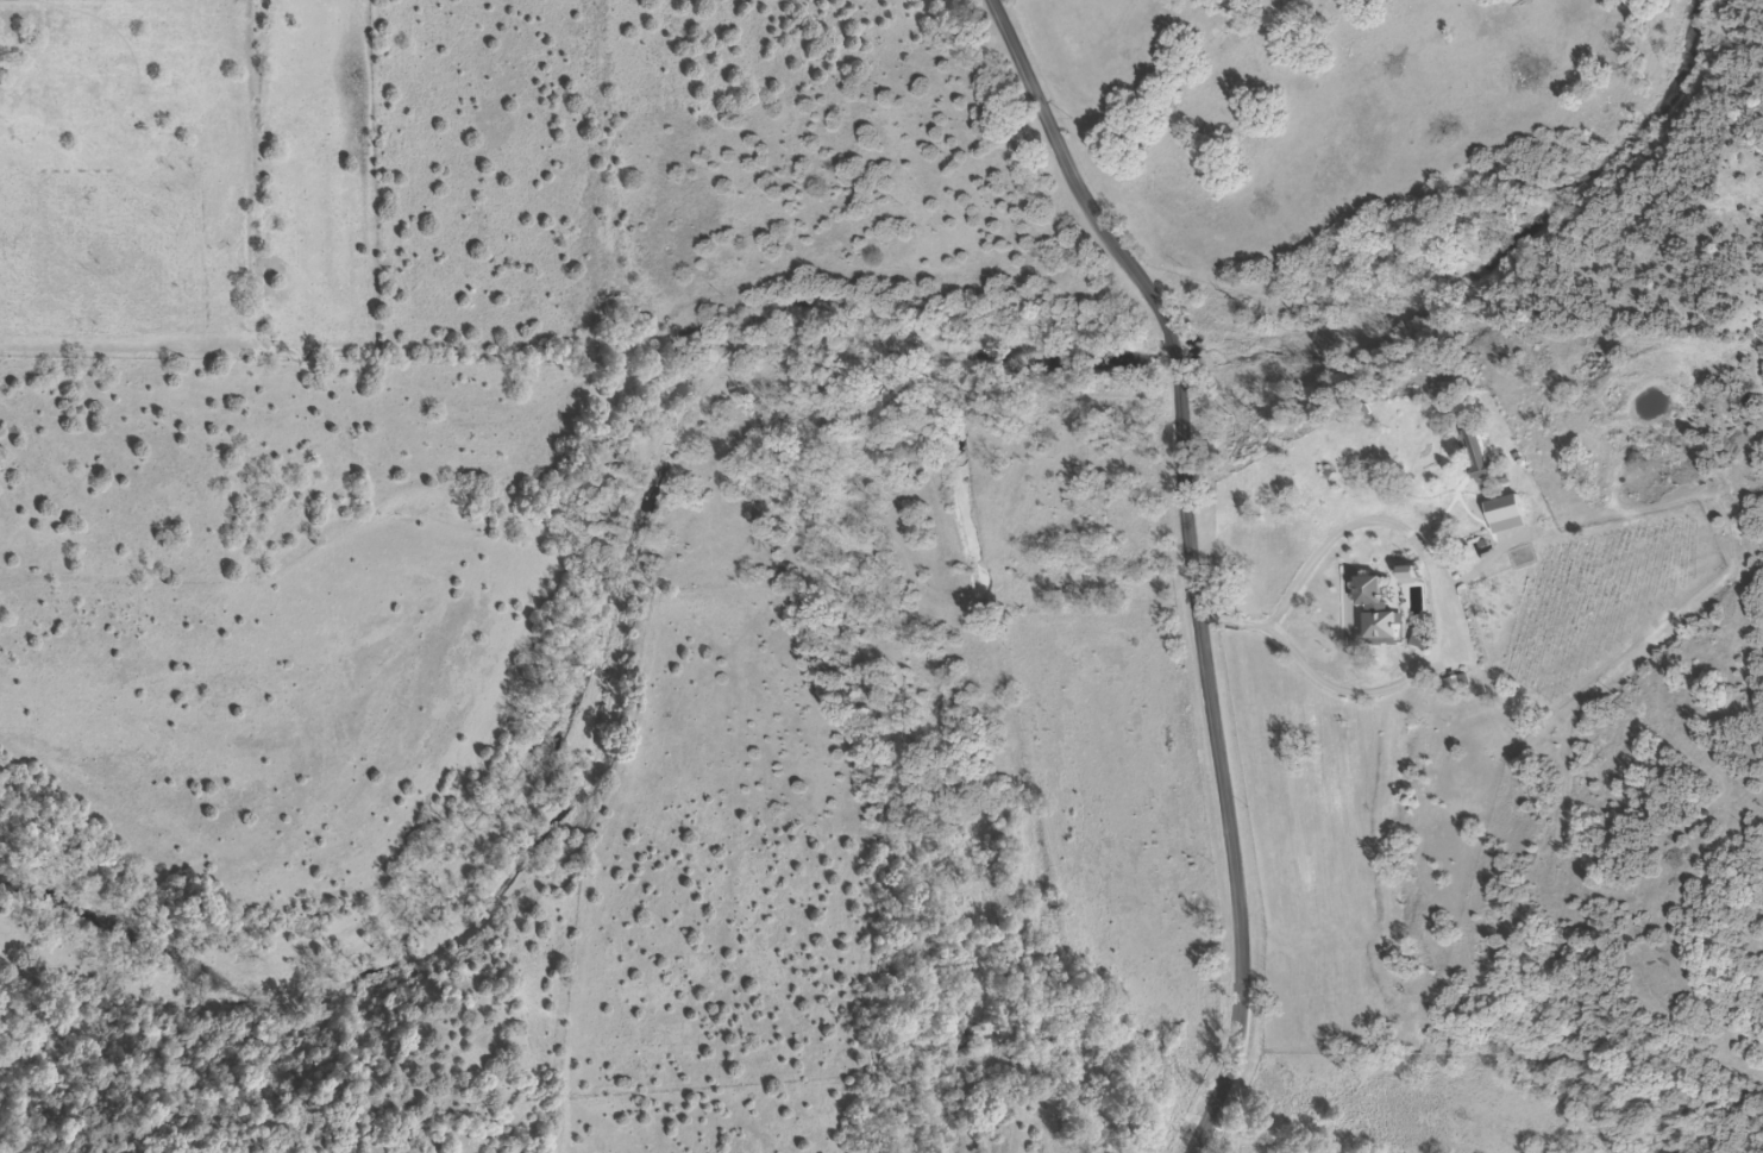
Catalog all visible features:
building: (1474, 452)
building: (1502, 510)
road: (1191, 557)
building: (1404, 575)
building: (1373, 613)
road: (1450, 634)

